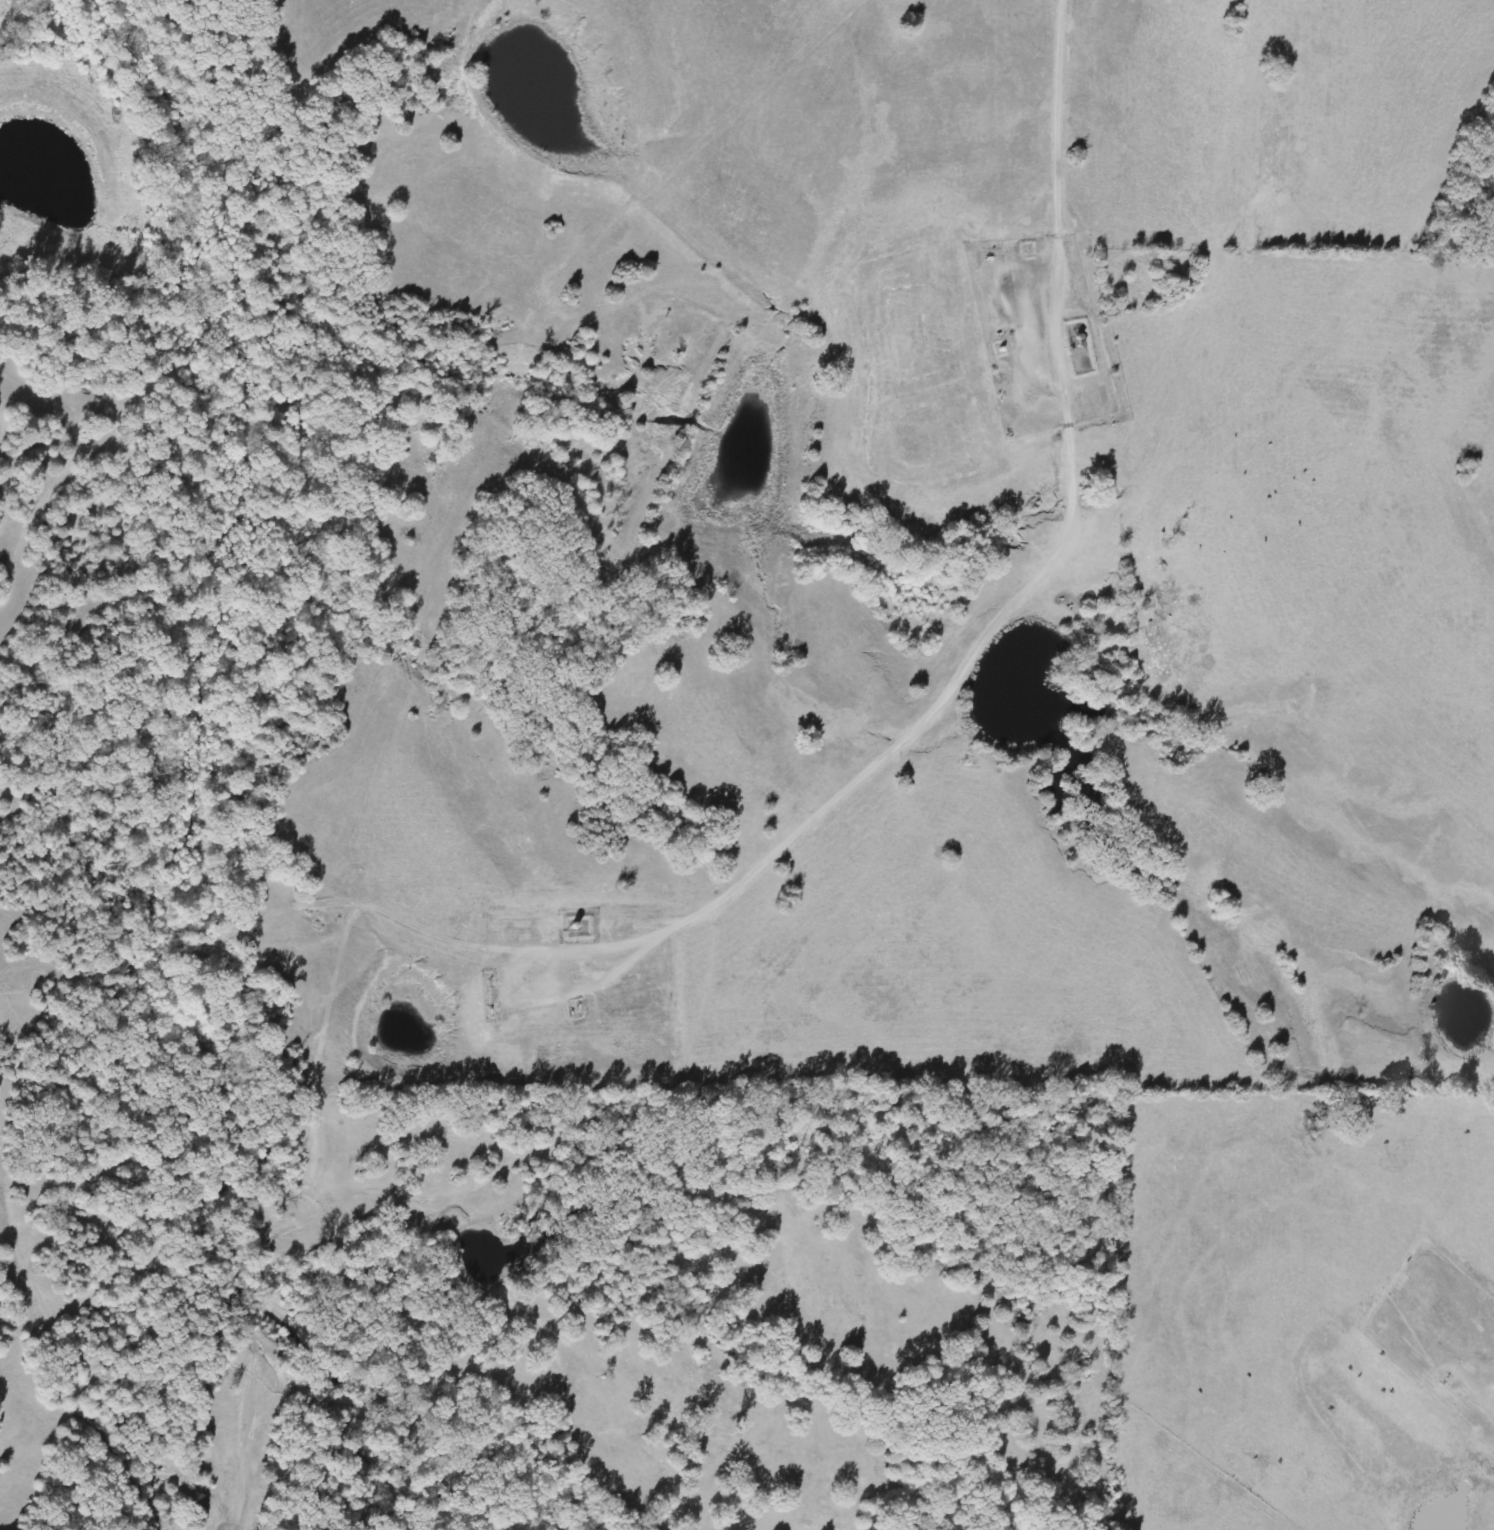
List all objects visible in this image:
road: (1321, 557)

